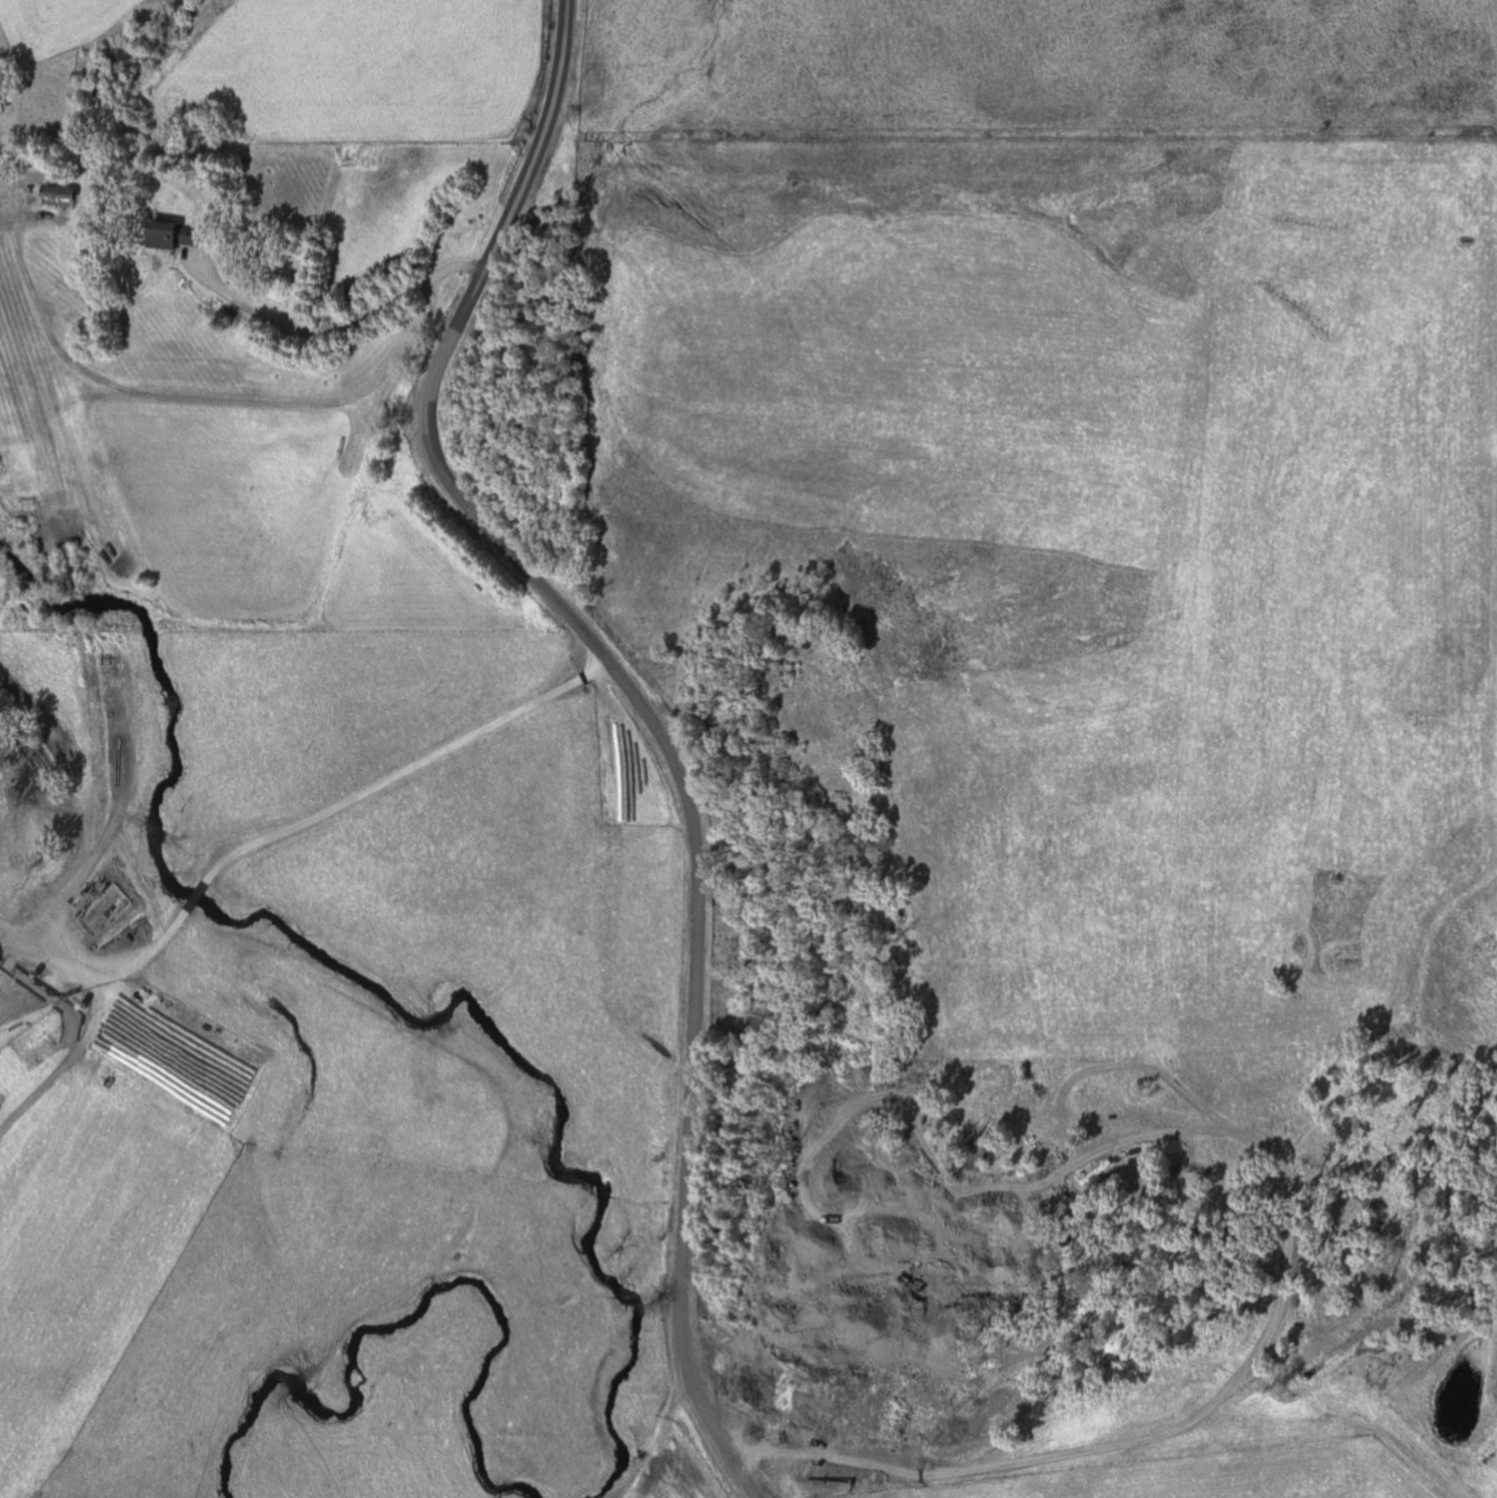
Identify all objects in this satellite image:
building: (54, 197)
building: (168, 239)
road: (329, 332)
road: (640, 709)
road: (293, 830)
road: (1240, 1134)
quarry: (791, 1323)
road: (1030, 1459)

